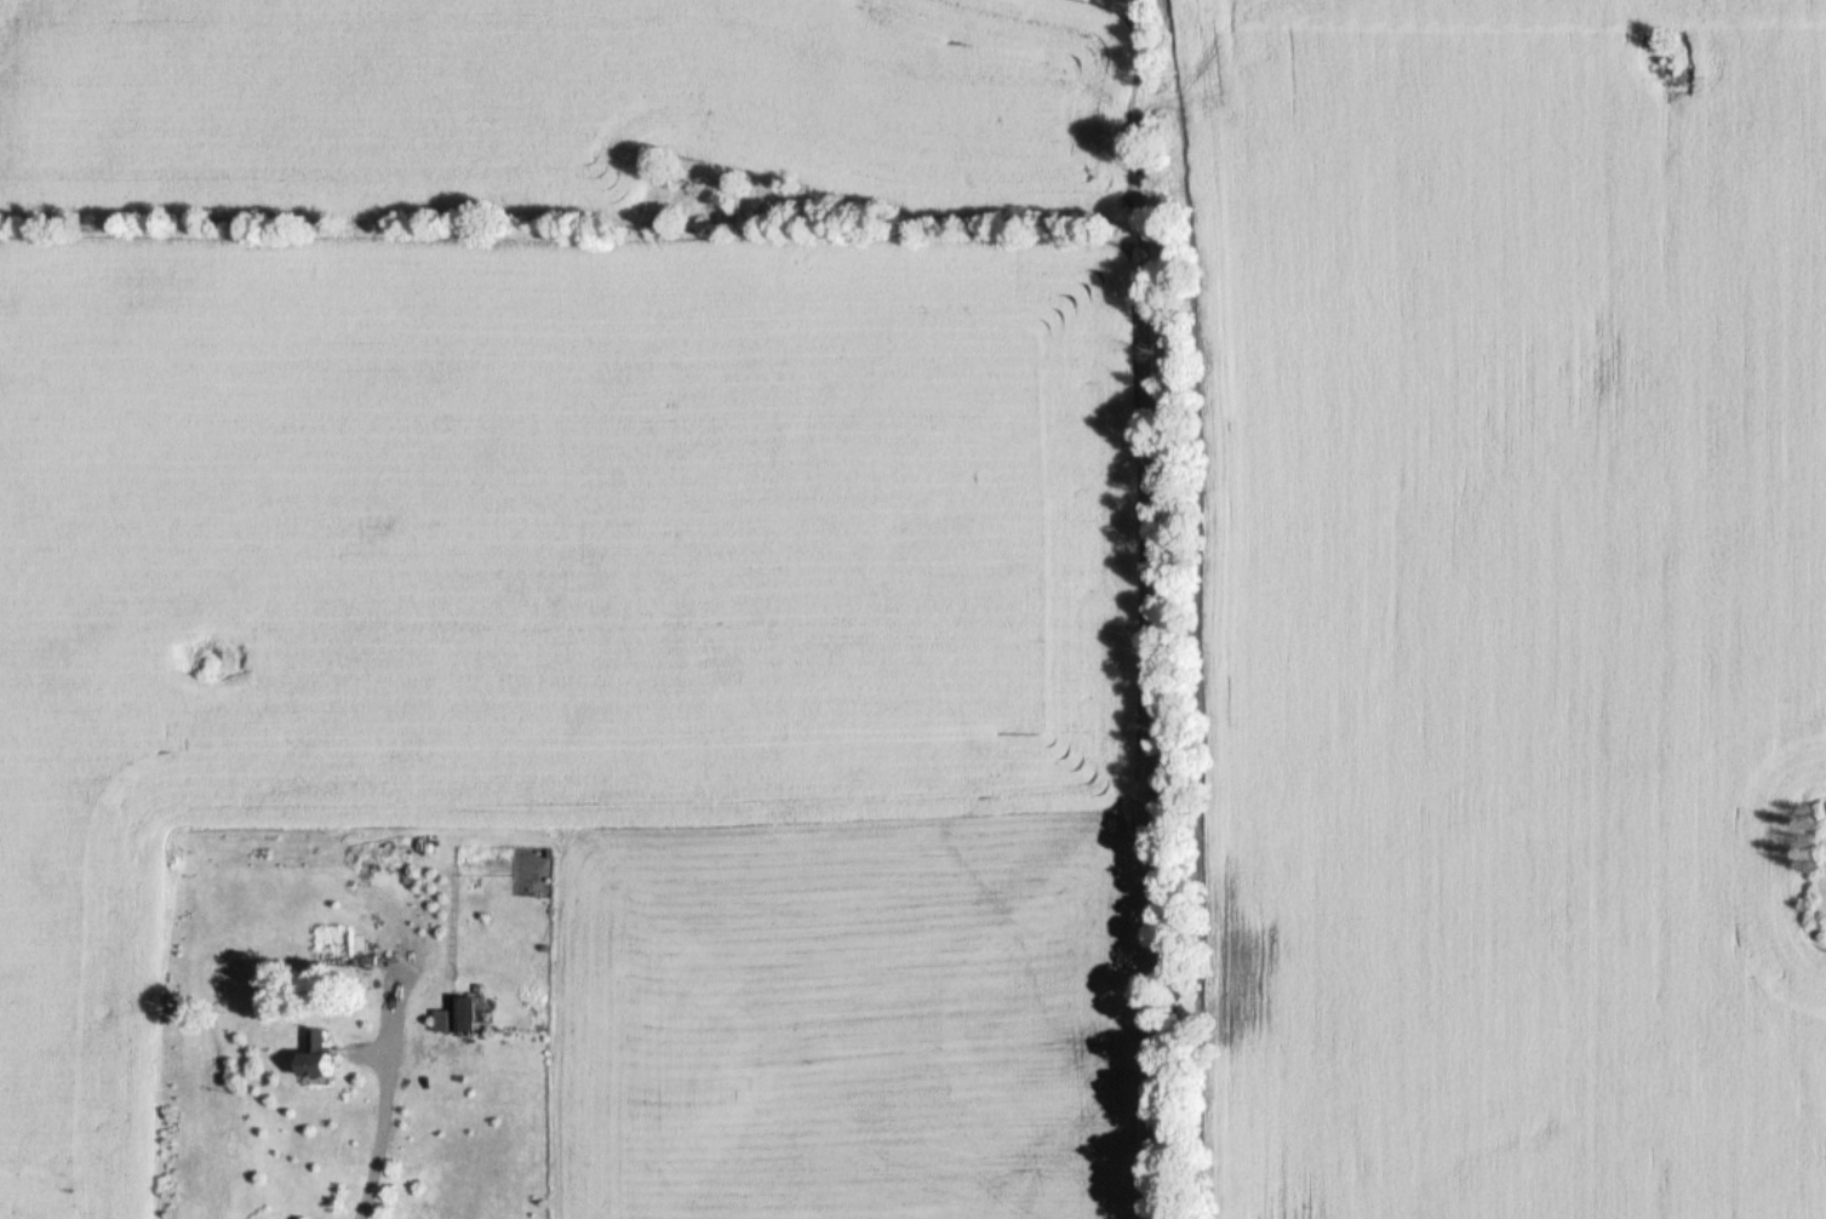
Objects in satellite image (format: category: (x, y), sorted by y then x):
building: (324, 1065)

